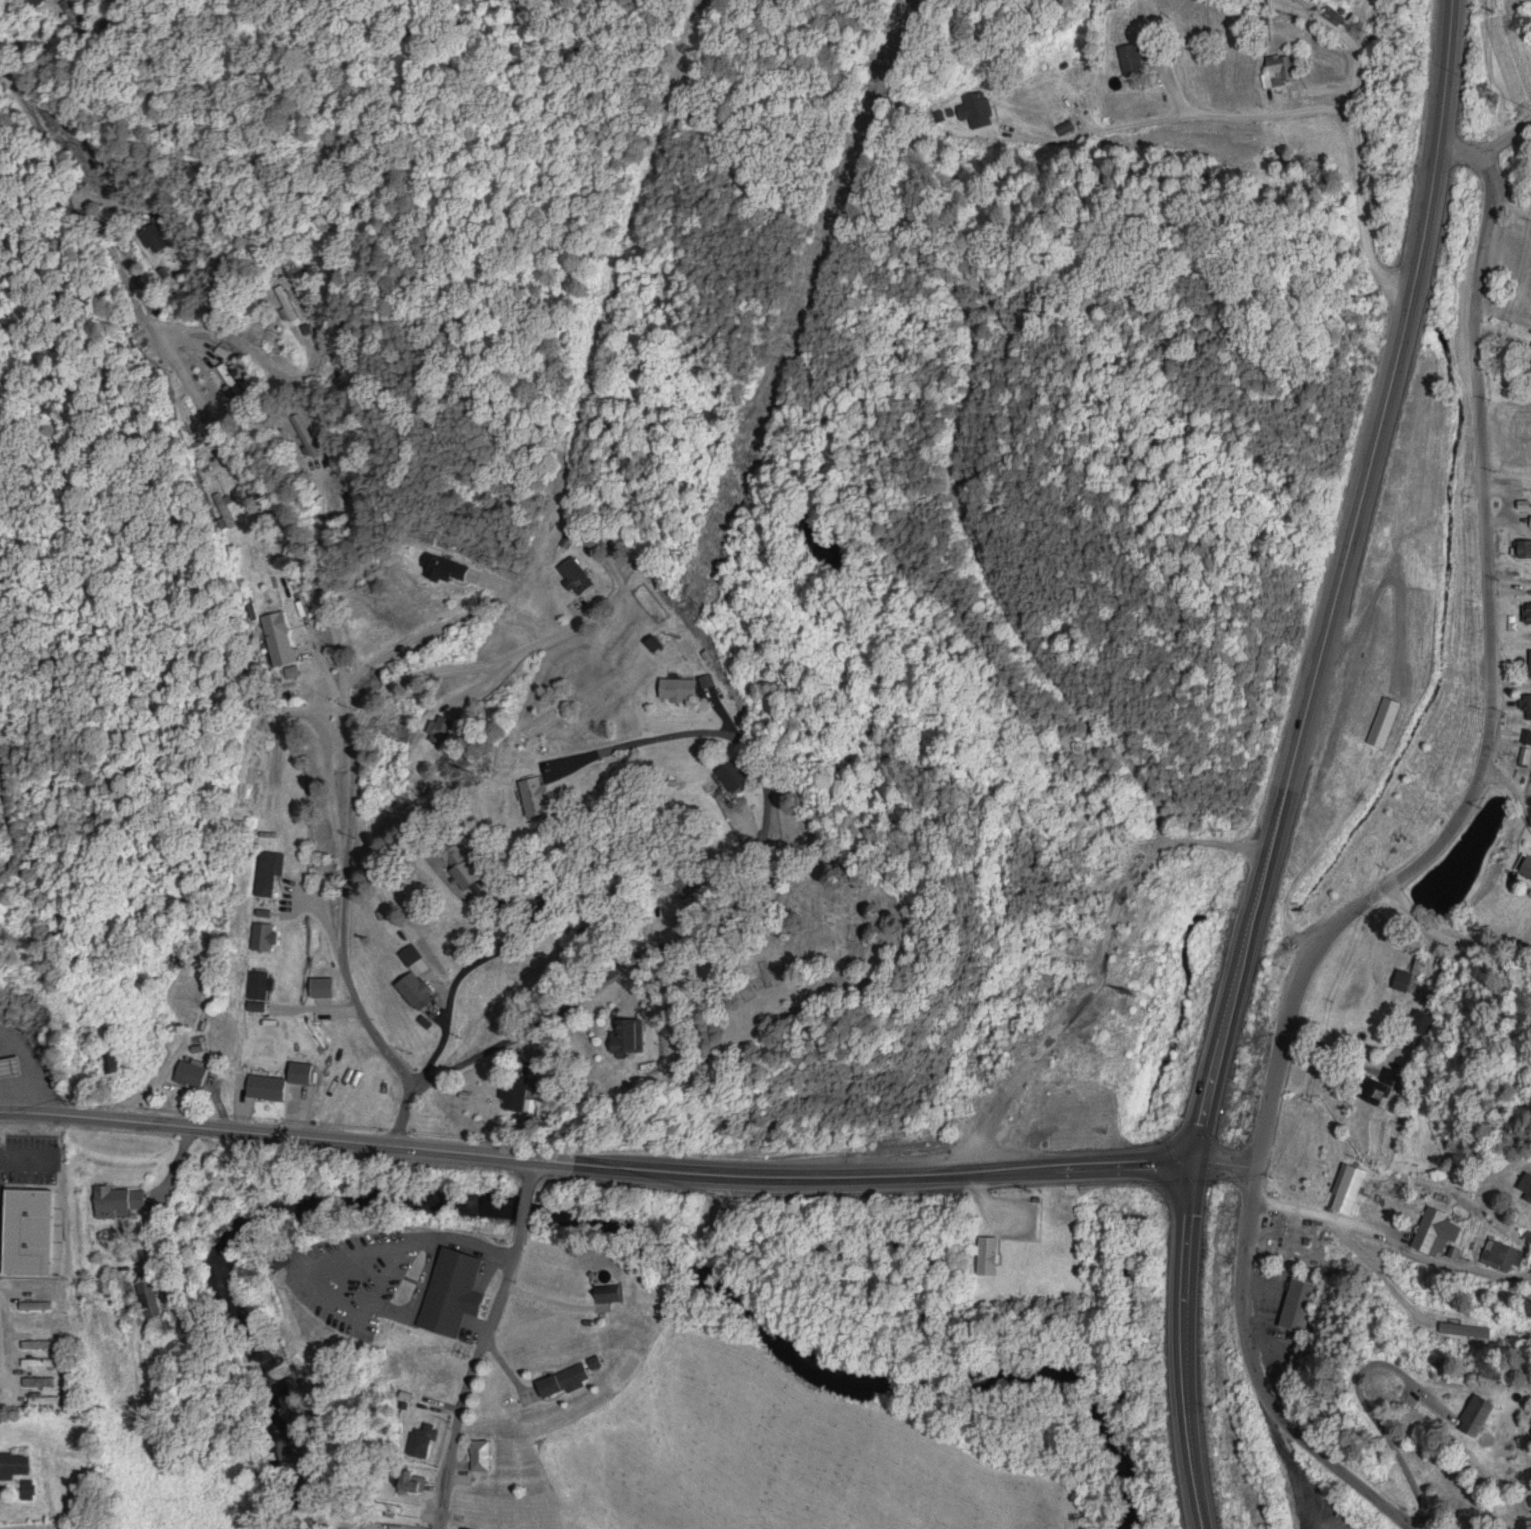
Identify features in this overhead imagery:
road: (1509, 133)
road: (1342, 582)
park: (1386, 659)
road: (404, 714)
road: (1408, 857)
road: (161, 1121)
road: (1229, 1164)
road: (758, 1173)
road: (1189, 1213)
road: (3, 1292)
road: (487, 1343)
road: (1193, 1398)

